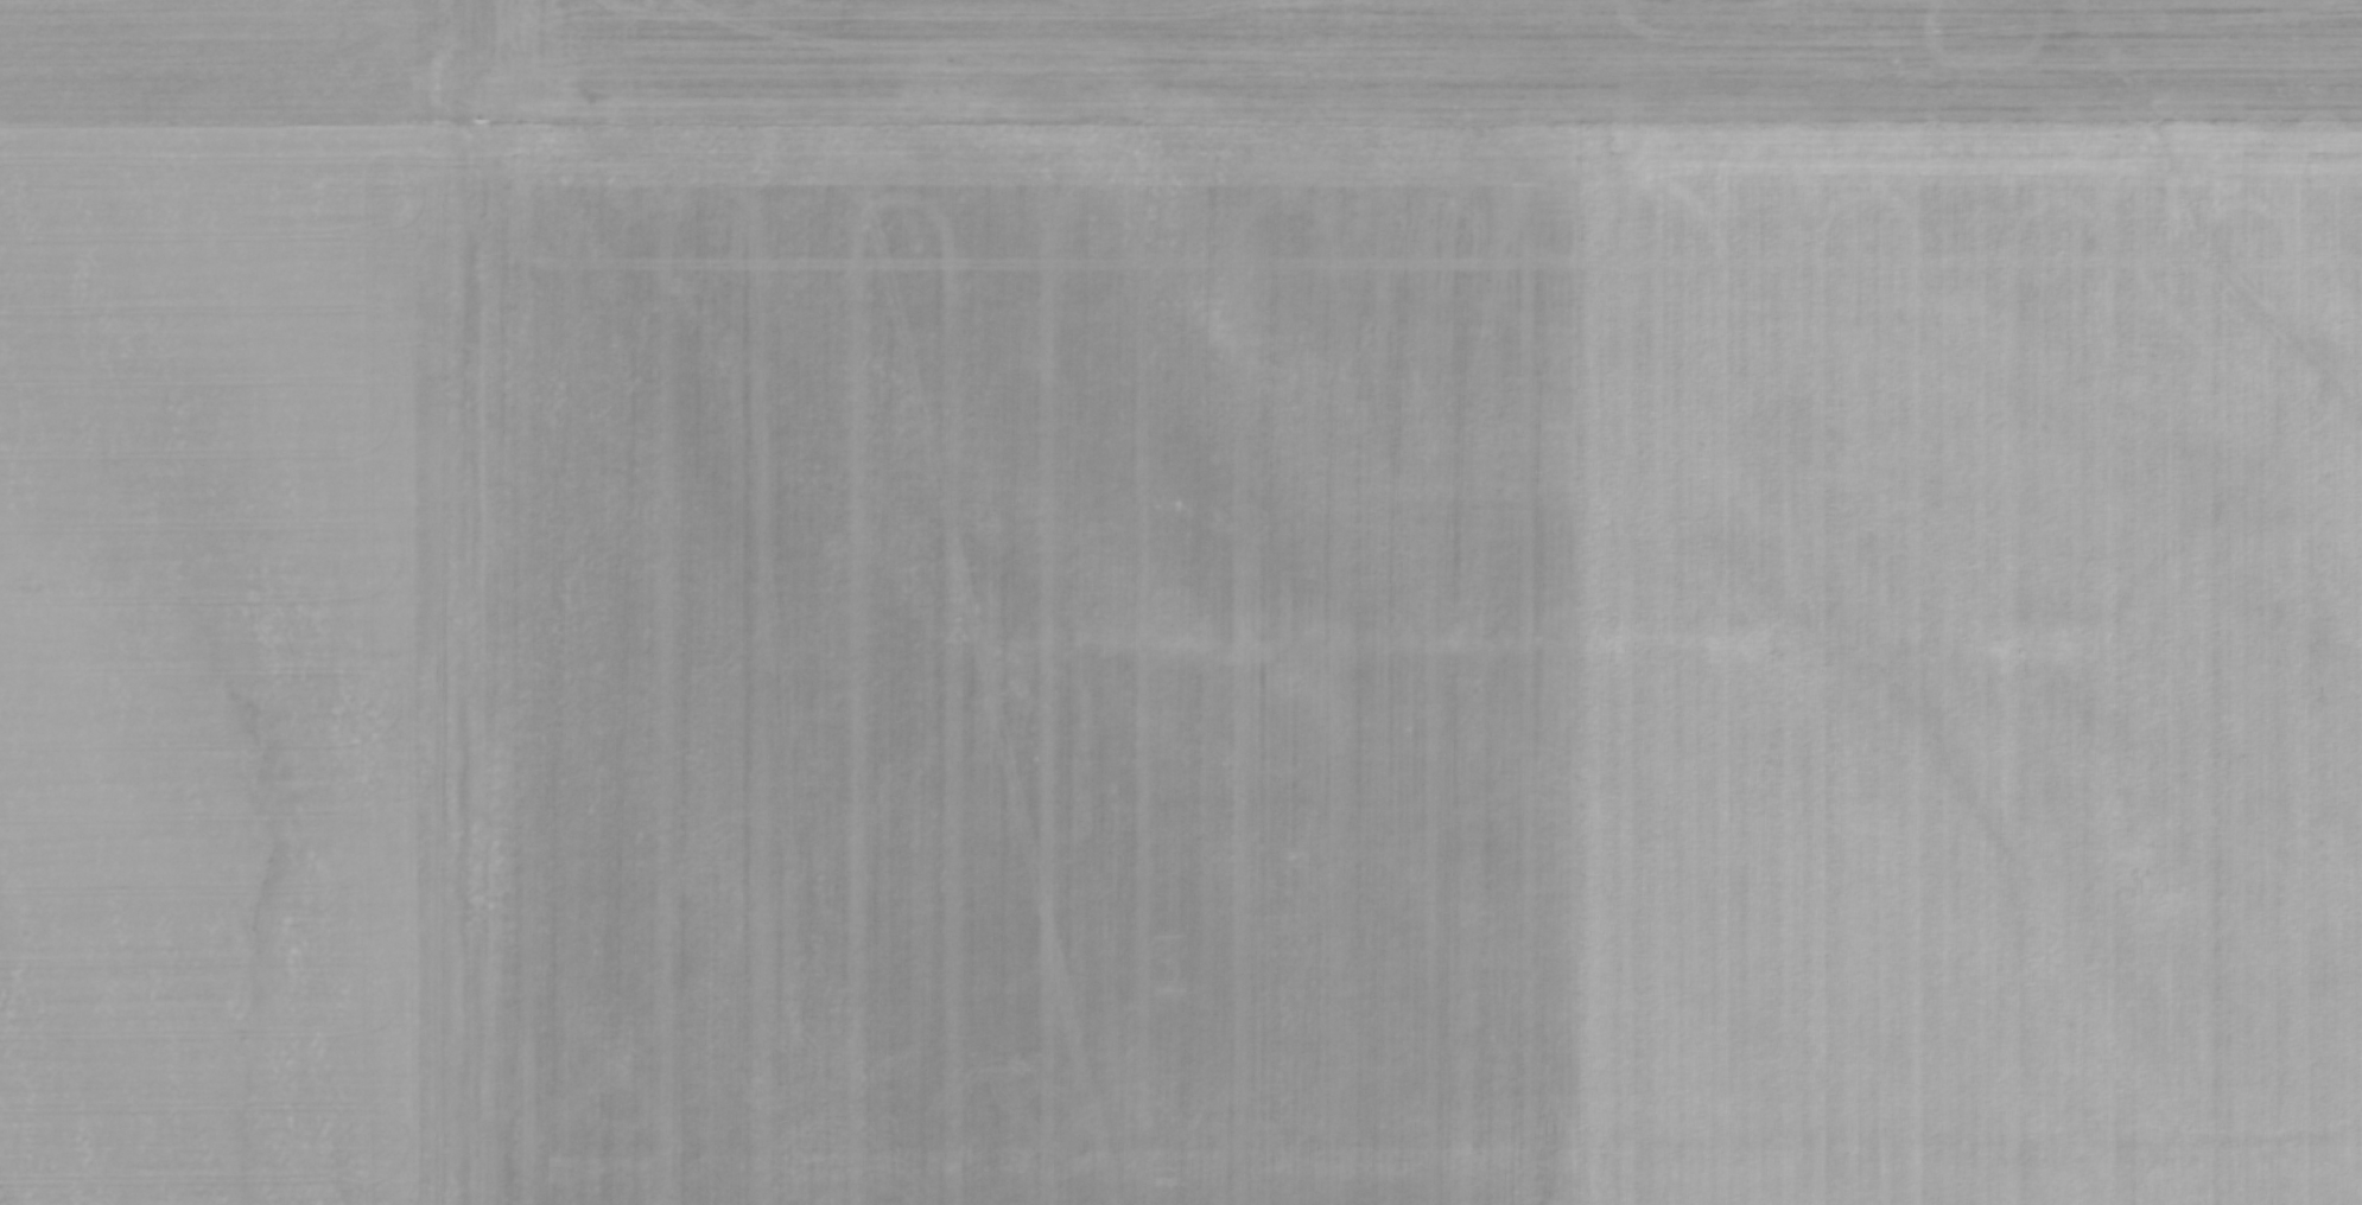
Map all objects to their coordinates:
road: (485, 40)
crop: (1181, 602)

